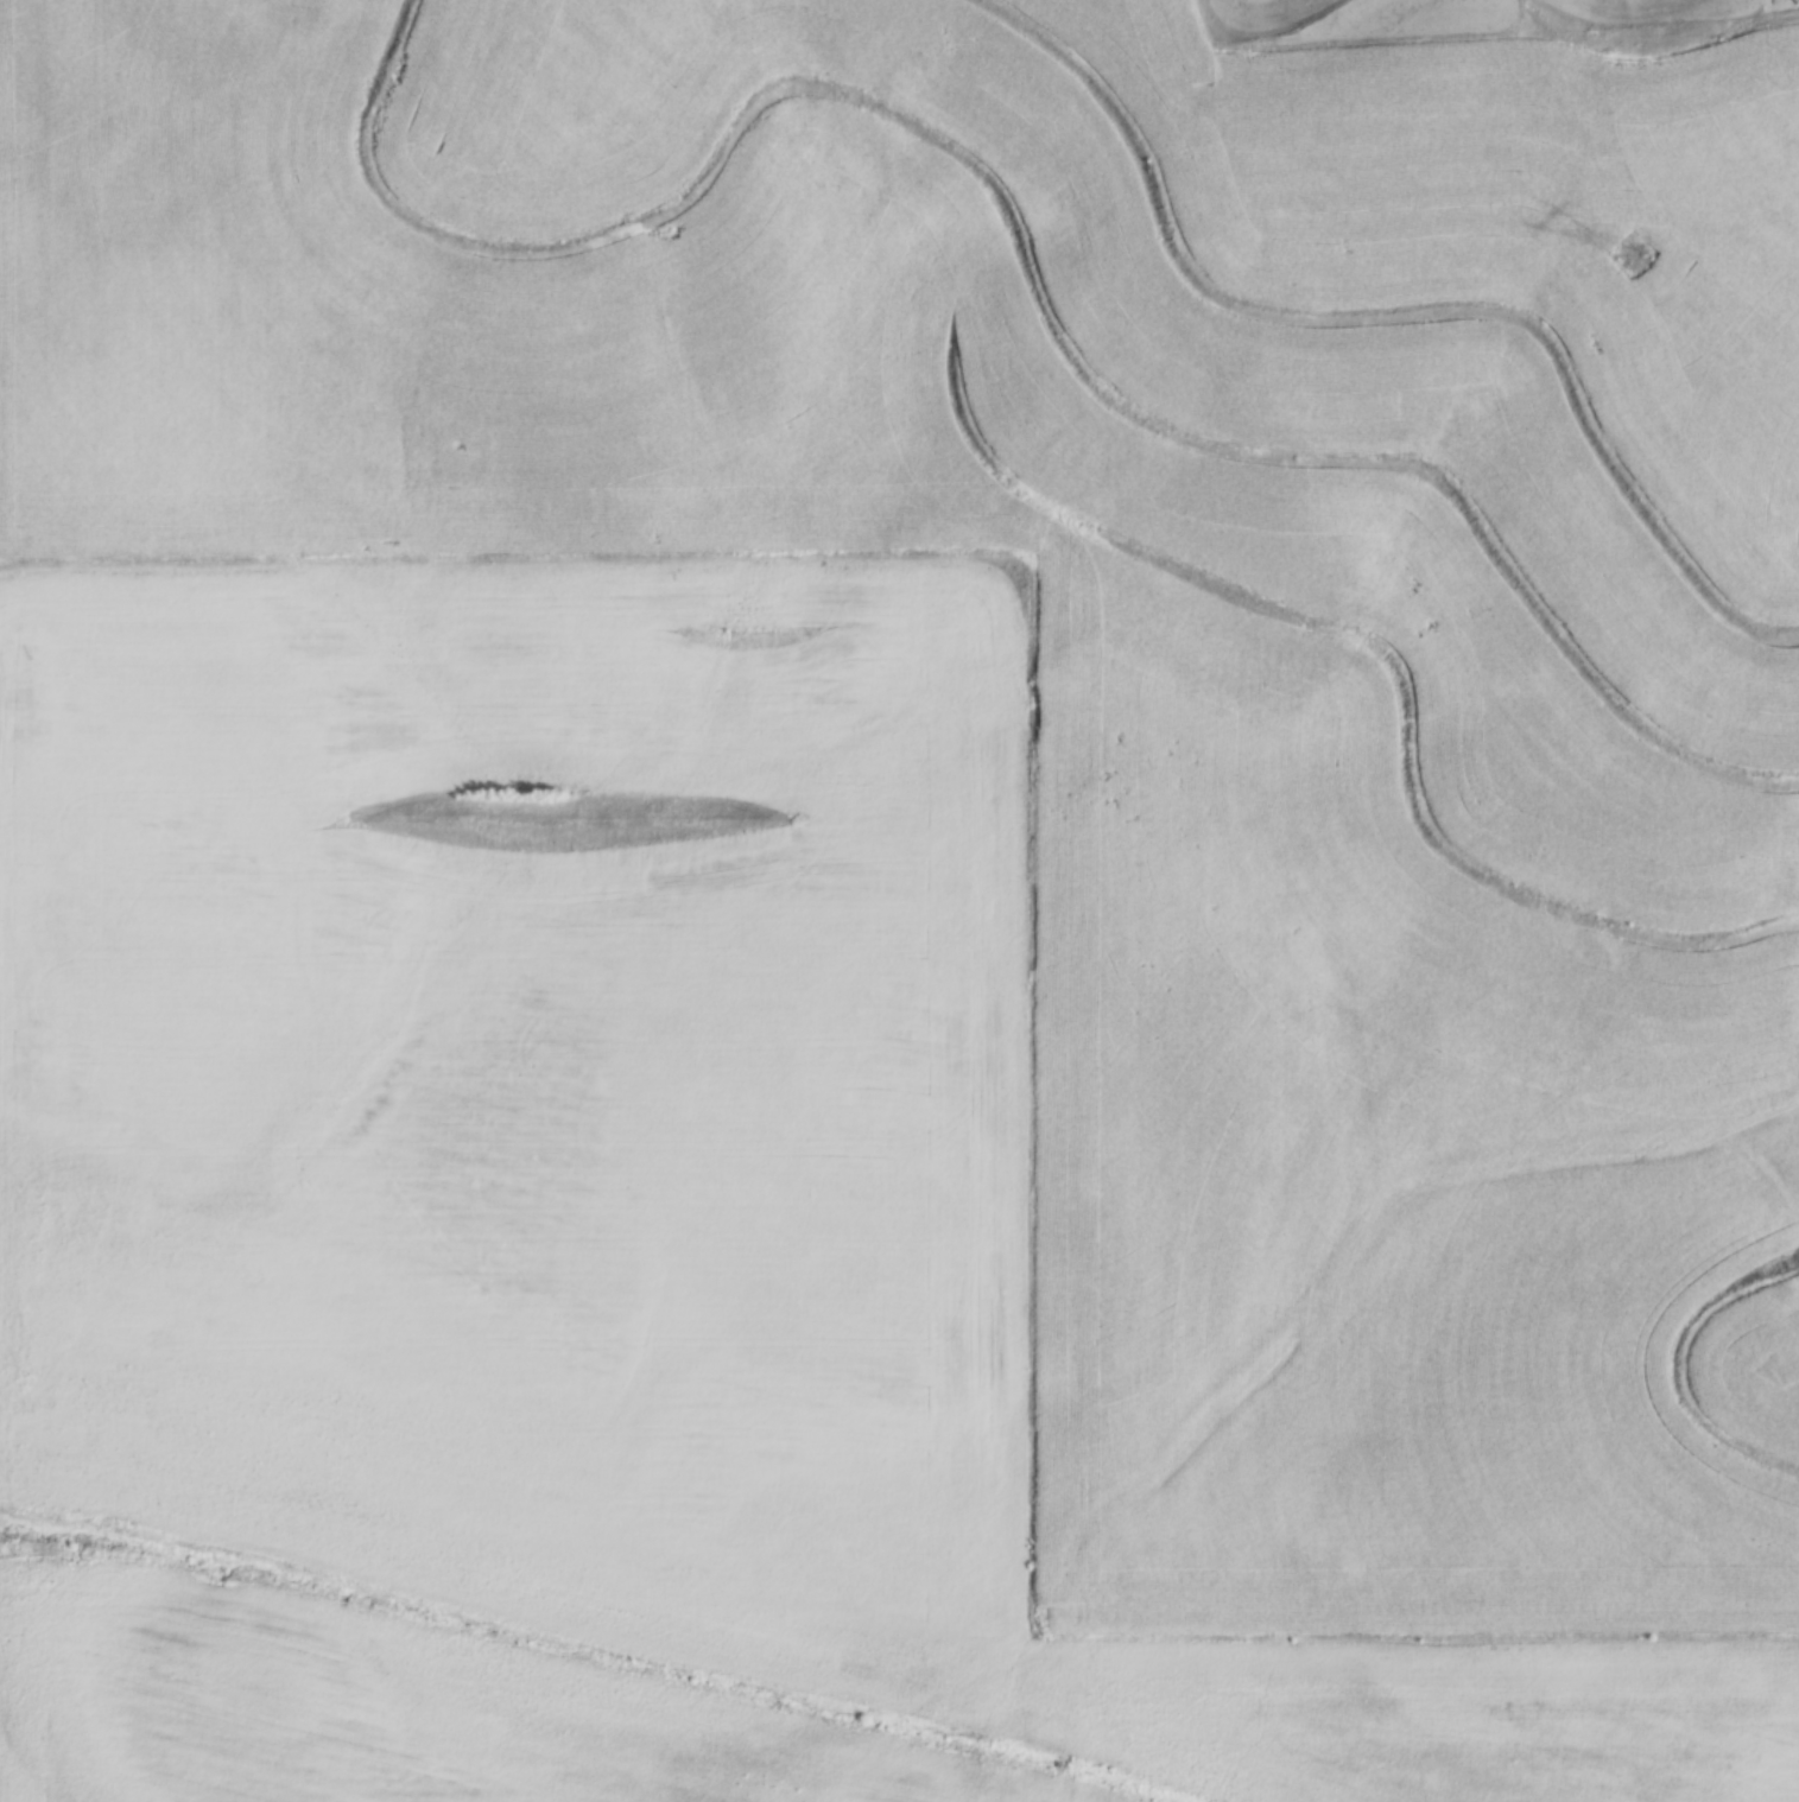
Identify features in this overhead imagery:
power tower: (1661, 273)

